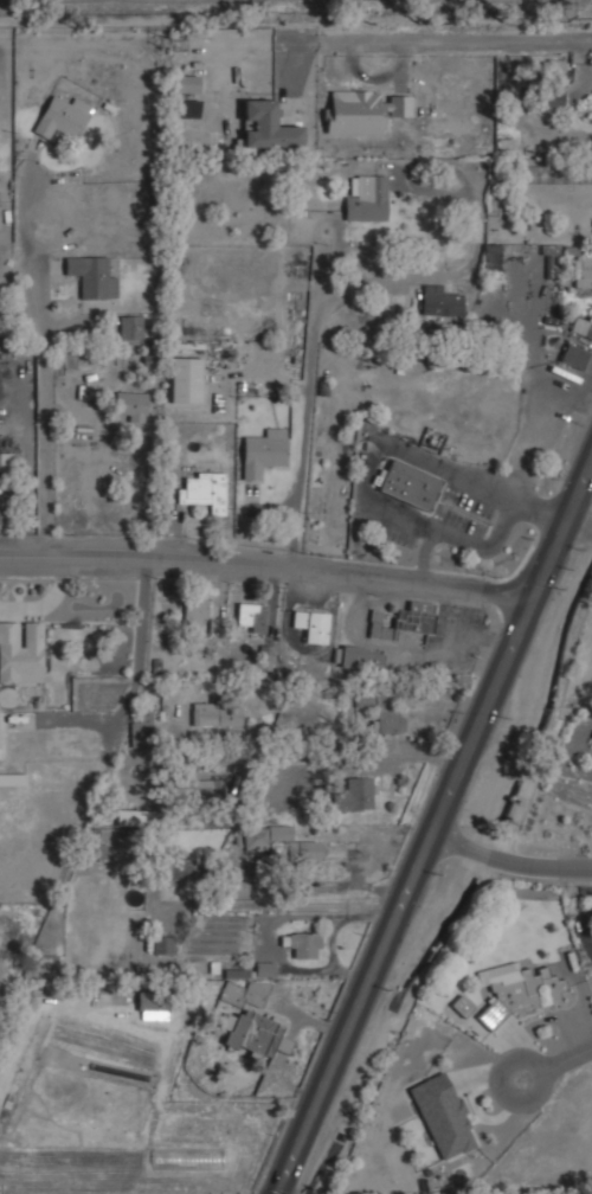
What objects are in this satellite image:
road: (446, 37)
building: (187, 84)
building: (548, 99)
building: (362, 111)
building: (62, 117)
building: (268, 127)
building: (366, 198)
building: (491, 261)
building: (581, 272)
building: (92, 277)
road: (361, 285)
building: (440, 301)
building: (130, 327)
building: (581, 327)
building: (574, 355)
road: (46, 361)
building: (185, 379)
building: (130, 405)
road: (387, 449)
building: (263, 451)
building: (6, 462)
building: (408, 486)
road: (480, 487)
building: (205, 490)
road: (398, 508)
parking lot: (465, 511)
road: (539, 514)
parking lot: (384, 525)
road: (577, 533)
road: (480, 546)
road: (422, 553)
road: (266, 571)
building: (195, 609)
building: (250, 617)
building: (401, 620)
building: (311, 625)
building: (21, 651)
building: (265, 656)
building: (358, 657)
building: (363, 698)
building: (215, 713)
building: (386, 720)
building: (141, 727)
road: (301, 758)
building: (12, 778)
building: (204, 787)
building: (355, 794)
building: (133, 817)
road: (435, 828)
building: (276, 841)
road: (509, 864)
building: (179, 869)
building: (163, 944)
building: (303, 944)
building: (264, 968)
building: (520, 988)
building: (154, 1003)
building: (462, 1006)
building: (249, 1019)
road: (555, 1063)
building: (442, 1116)
traffic signals: (279, 1192)

